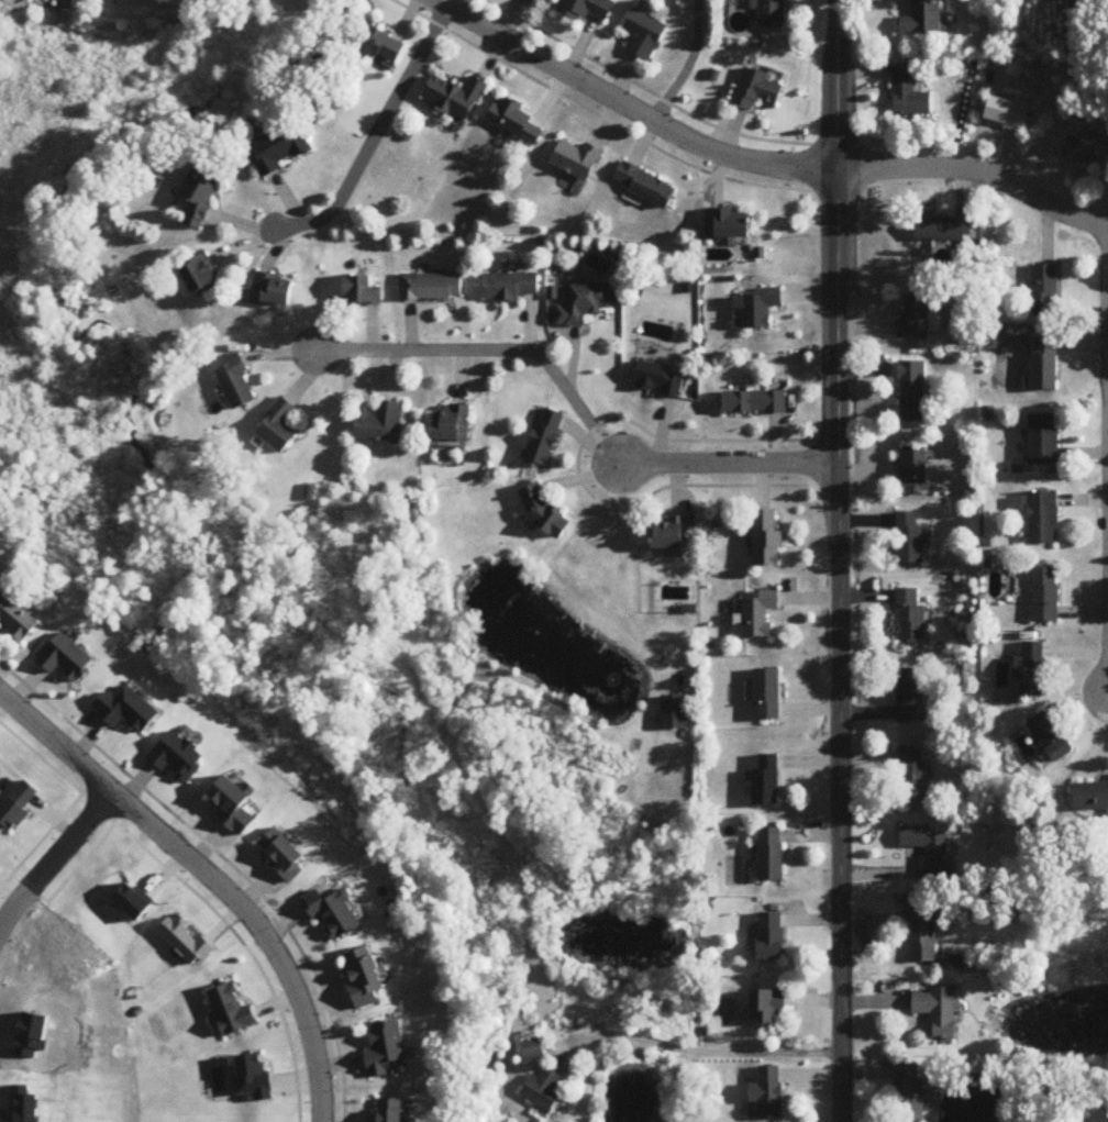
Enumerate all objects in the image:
building: (587, 9)
building: (772, 14)
building: (923, 20)
building: (644, 34)
building: (383, 46)
road: (676, 81)
building: (756, 90)
building: (909, 95)
building: (456, 97)
road: (656, 97)
building: (1008, 115)
building: (516, 121)
road: (607, 123)
road: (375, 135)
building: (281, 147)
building: (1087, 152)
building: (576, 154)
road: (758, 159)
building: (645, 180)
building: (201, 192)
building: (730, 223)
building: (944, 229)
building: (202, 276)
building: (510, 279)
building: (429, 280)
building: (357, 286)
building: (276, 288)
building: (1045, 289)
building: (584, 303)
building: (758, 308)
building: (916, 318)
road: (497, 351)
building: (1045, 363)
building: (660, 380)
building: (236, 382)
building: (911, 391)
building: (754, 402)
building: (380, 423)
building: (452, 423)
building: (279, 426)
building: (545, 438)
building: (1044, 438)
road: (675, 442)
road: (730, 464)
building: (916, 465)
road: (763, 486)
road: (720, 487)
road: (677, 489)
building: (1044, 518)
building: (675, 533)
building: (909, 537)
building: (767, 540)
road: (838, 560)
building: (1046, 595)
building: (760, 614)
building: (910, 615)
building: (18, 620)
building: (1033, 670)
building: (768, 695)
building: (911, 696)
building: (675, 713)
building: (1053, 737)
road: (43, 758)
road: (128, 774)
building: (912, 776)
building: (767, 782)
building: (1092, 796)
building: (284, 853)
building: (928, 853)
building: (772, 855)
road: (54, 858)
road: (209, 877)
building: (335, 913)
building: (772, 936)
building: (922, 936)
building: (365, 977)
building: (769, 1007)
building: (939, 1011)
building: (534, 1048)
road: (708, 1051)
building: (544, 1089)
building: (769, 1093)
building: (911, 1093)
building: (390, 1110)

